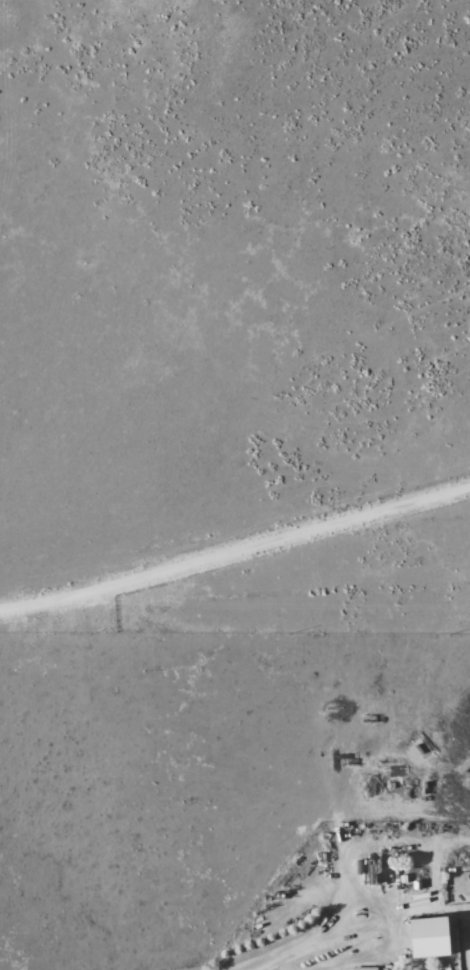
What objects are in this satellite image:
road: (336, 964)

